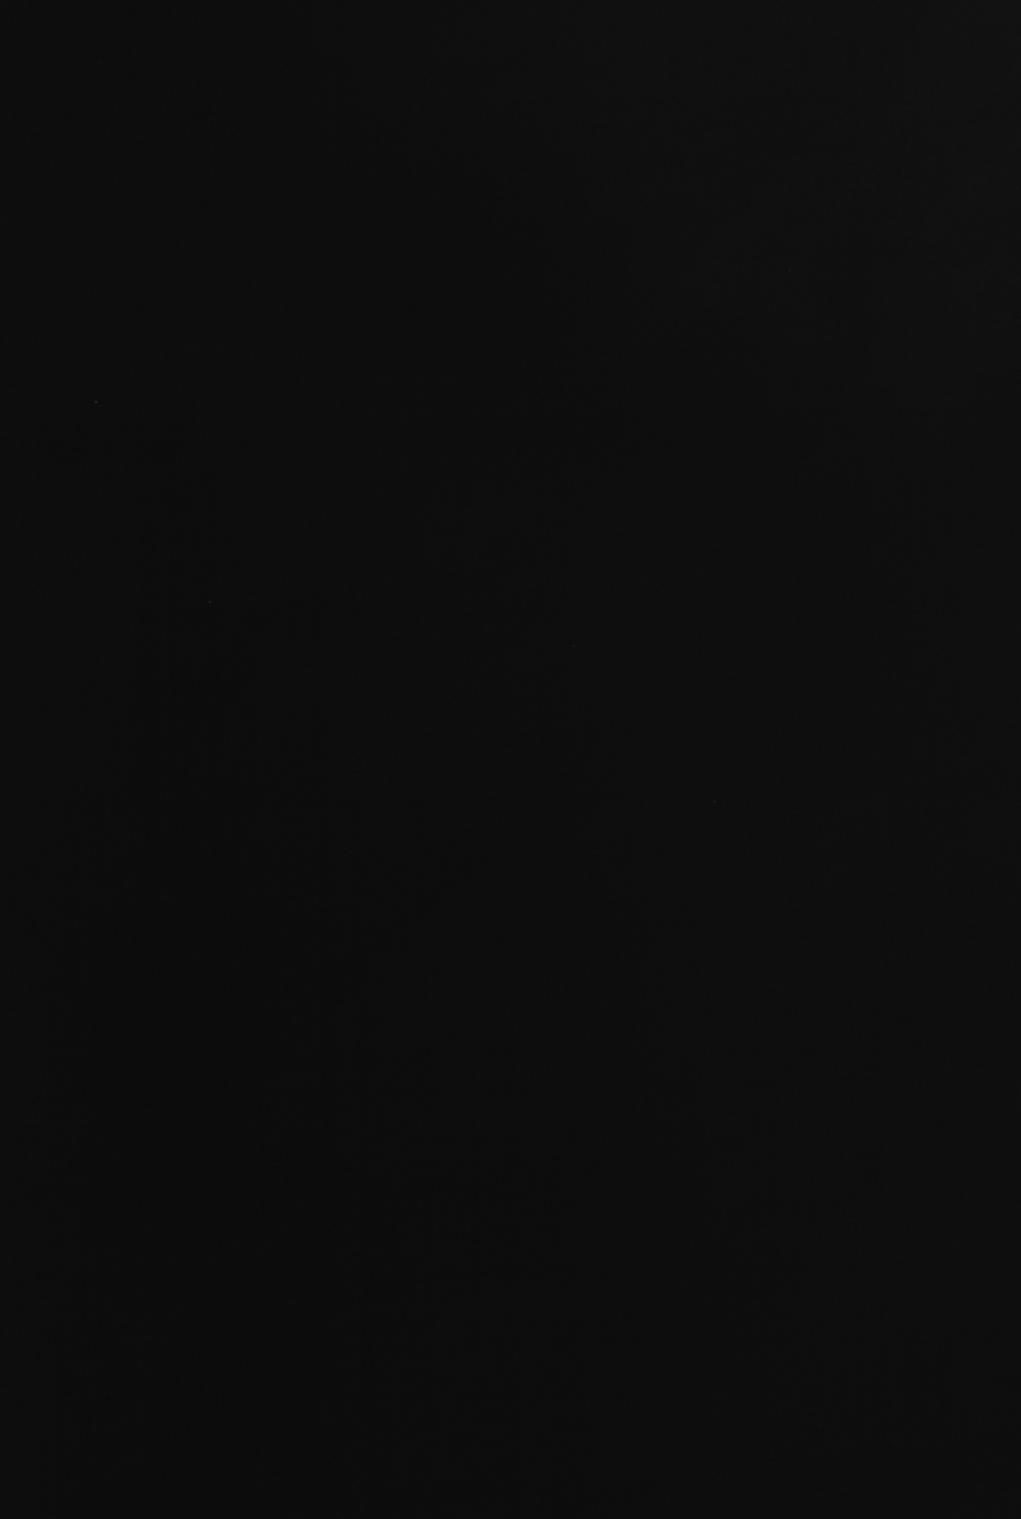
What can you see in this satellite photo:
river: (308, 1320)

